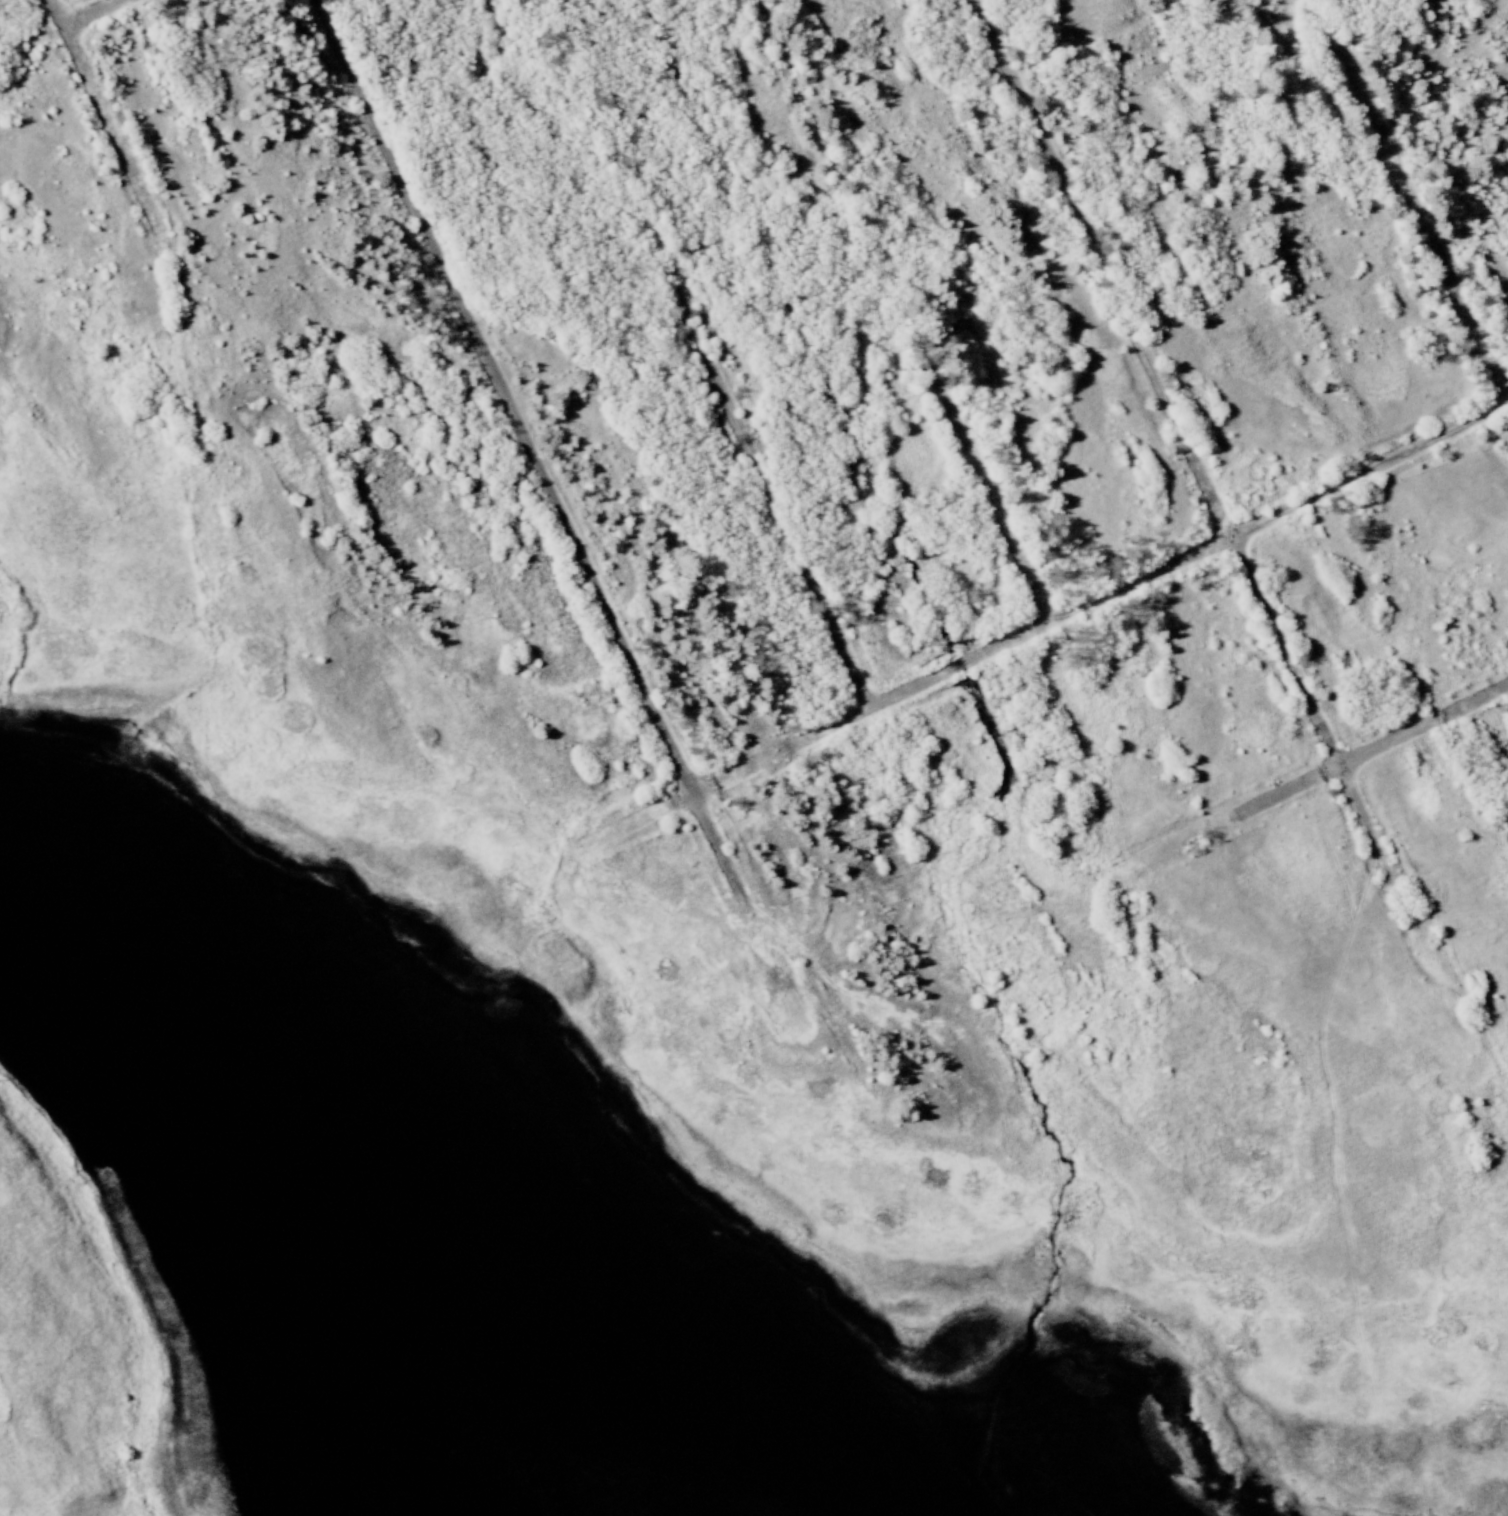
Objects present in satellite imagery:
road: (103, 16)
road: (105, 111)
road: (1411, 201)
road: (1105, 270)
road: (904, 313)
road: (705, 357)
road: (532, 457)
road: (1046, 629)
road: (1285, 656)
road: (1424, 731)
road: (1234, 823)
road: (1382, 857)

